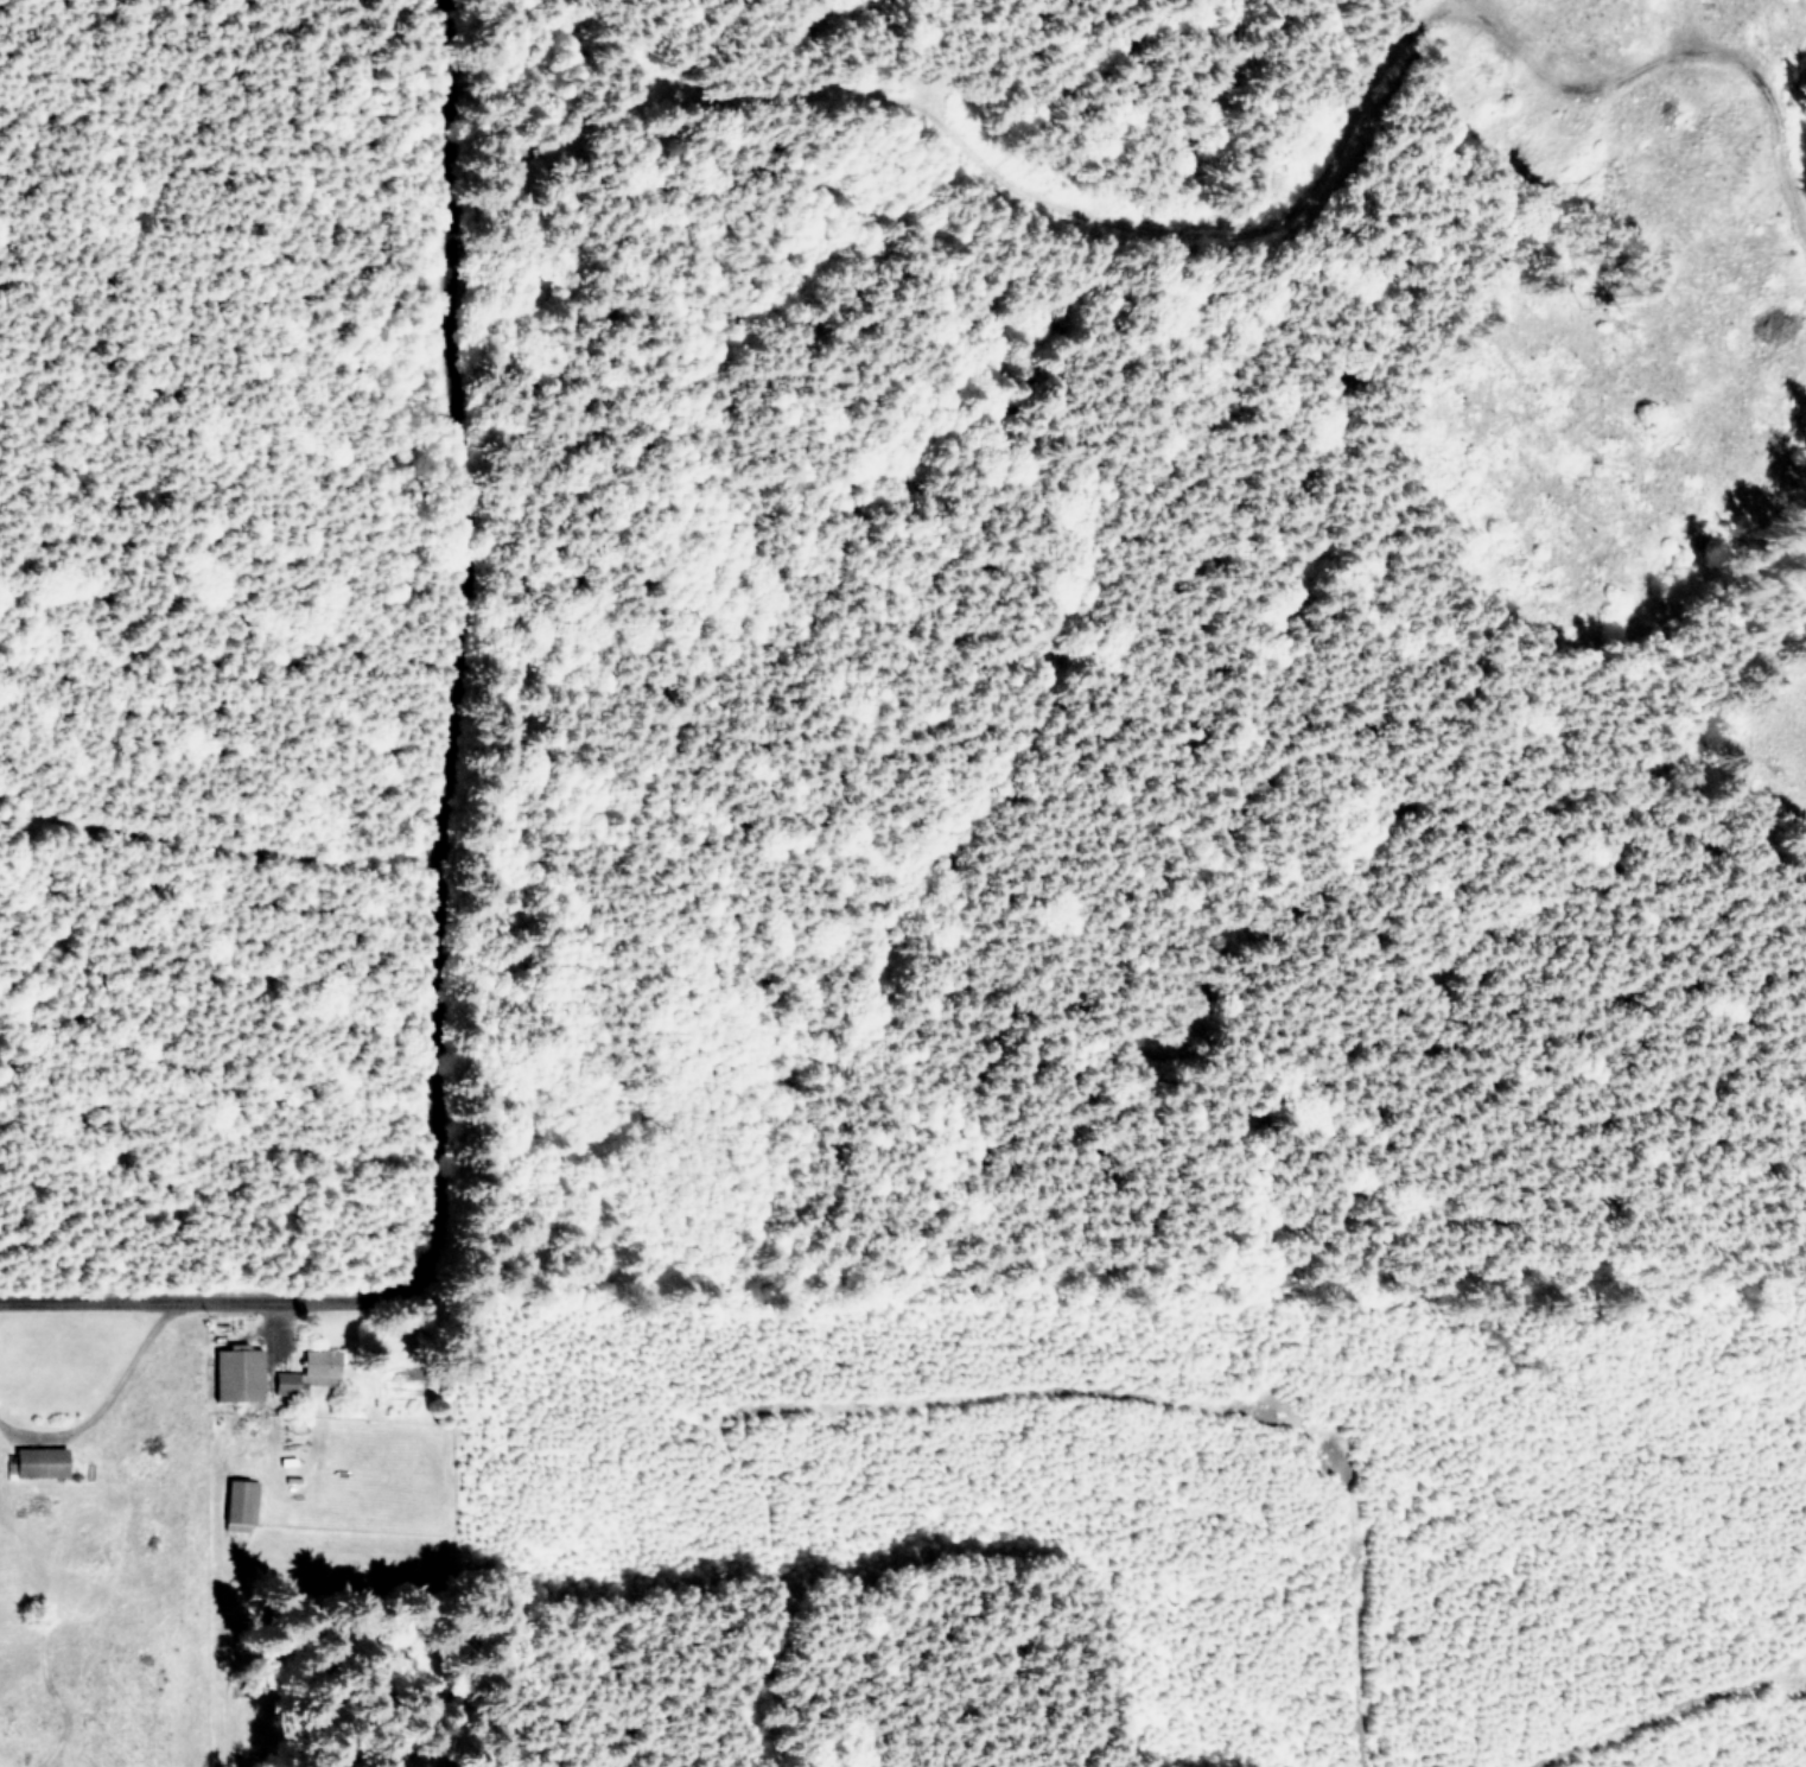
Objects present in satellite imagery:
road: (444, 844)
building: (236, 1373)
building: (300, 1373)
road: (103, 1393)
building: (38, 1461)
building: (235, 1500)

